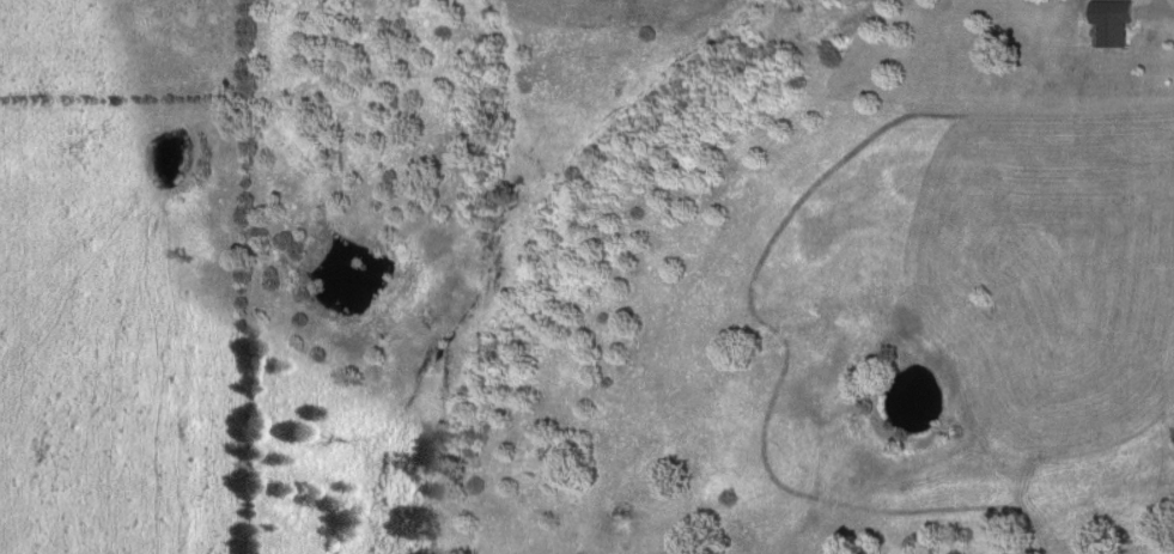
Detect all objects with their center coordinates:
road: (1157, 11)
building: (1111, 23)

